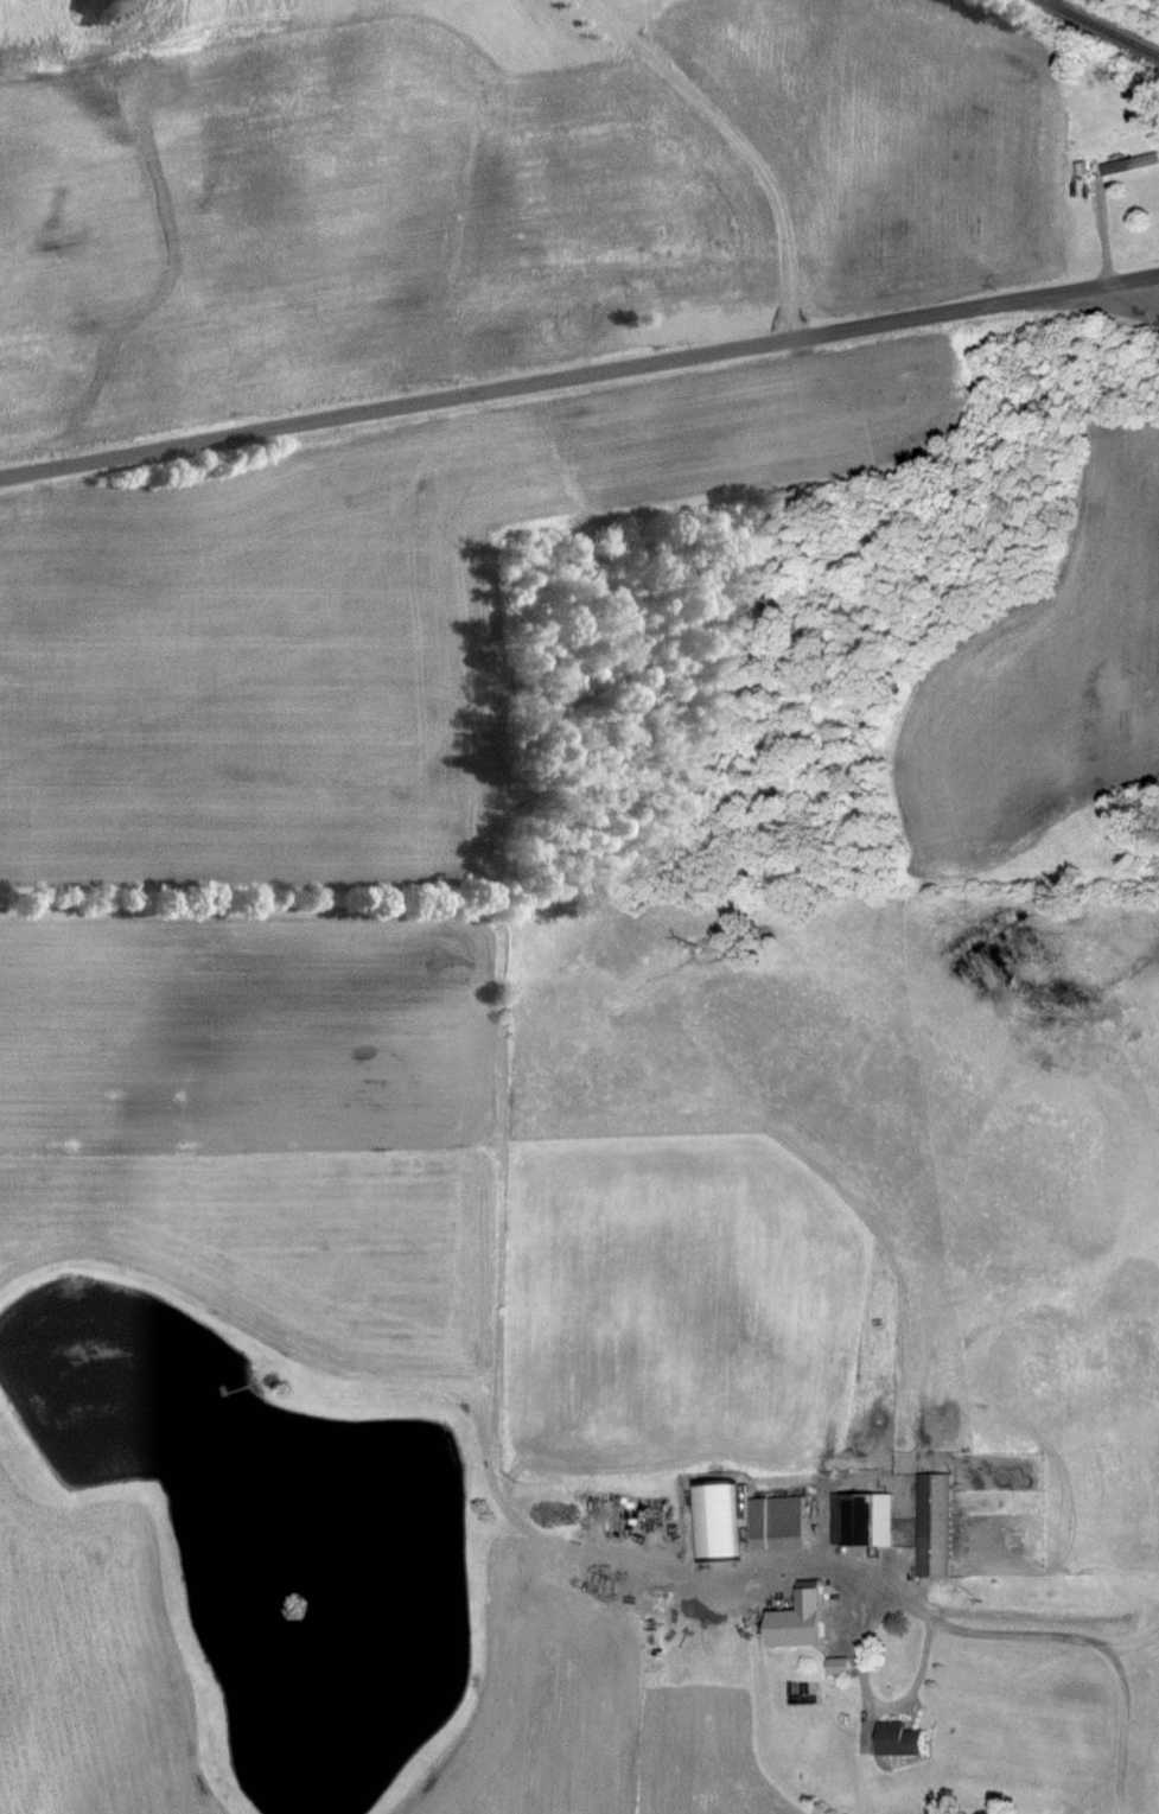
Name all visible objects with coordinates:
railway: (1098, 28)
road: (746, 145)
building: (1110, 168)
road: (1132, 300)
road: (579, 376)
building: (858, 1521)
building: (779, 1523)
building: (935, 1527)
building: (803, 1621)
road: (1049, 1629)
road: (860, 1662)
road: (1120, 1729)
building: (904, 1743)

